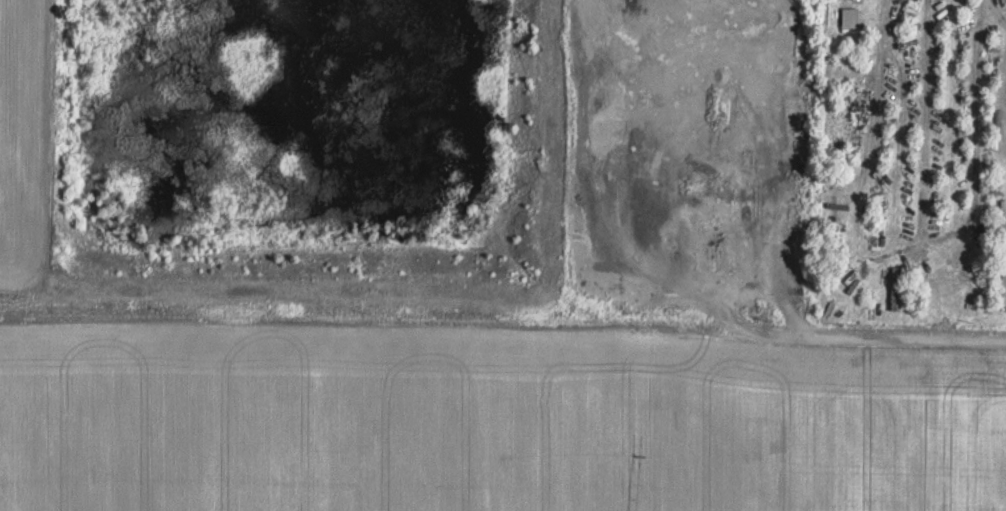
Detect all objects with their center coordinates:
building: (1002, 218)
building: (1003, 279)
building: (895, 287)
road: (503, 327)

